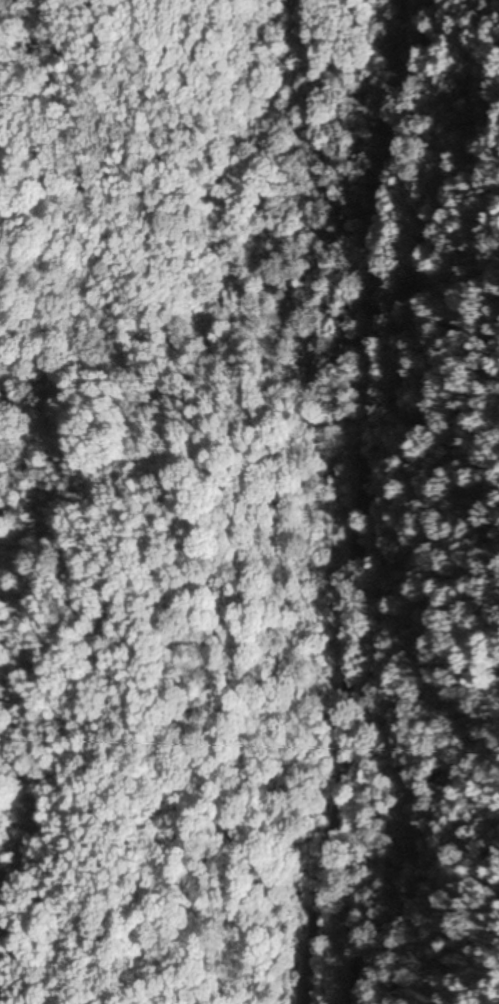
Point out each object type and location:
road: (365, 500)

